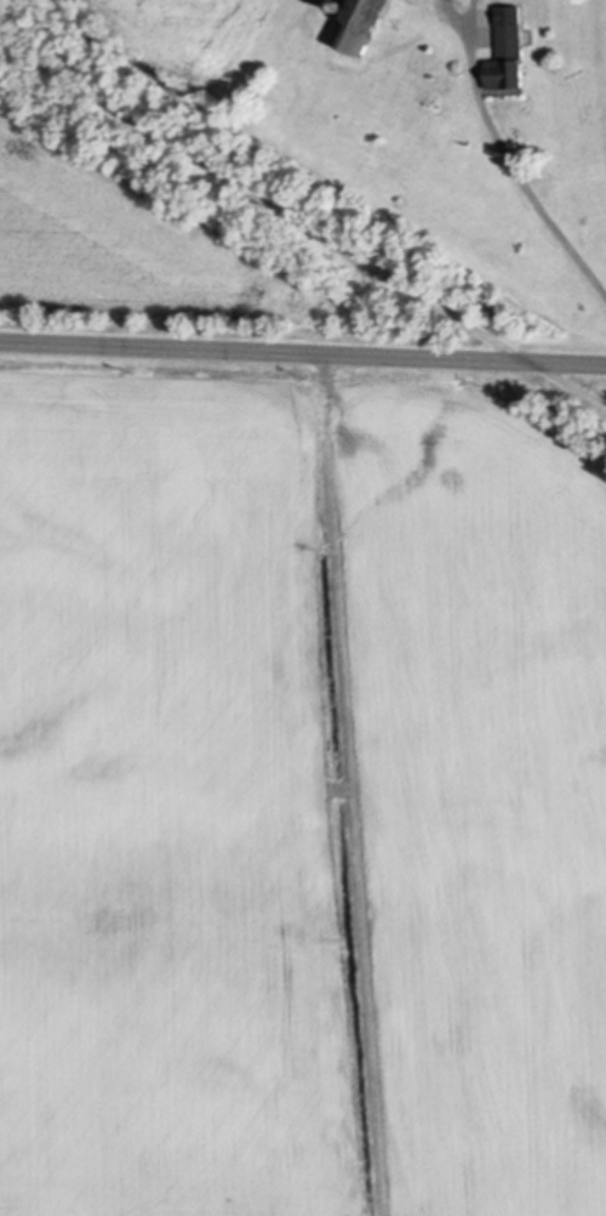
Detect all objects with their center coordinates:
building: (359, 25)
building: (507, 57)
road: (520, 174)
road: (303, 221)
road: (303, 350)

